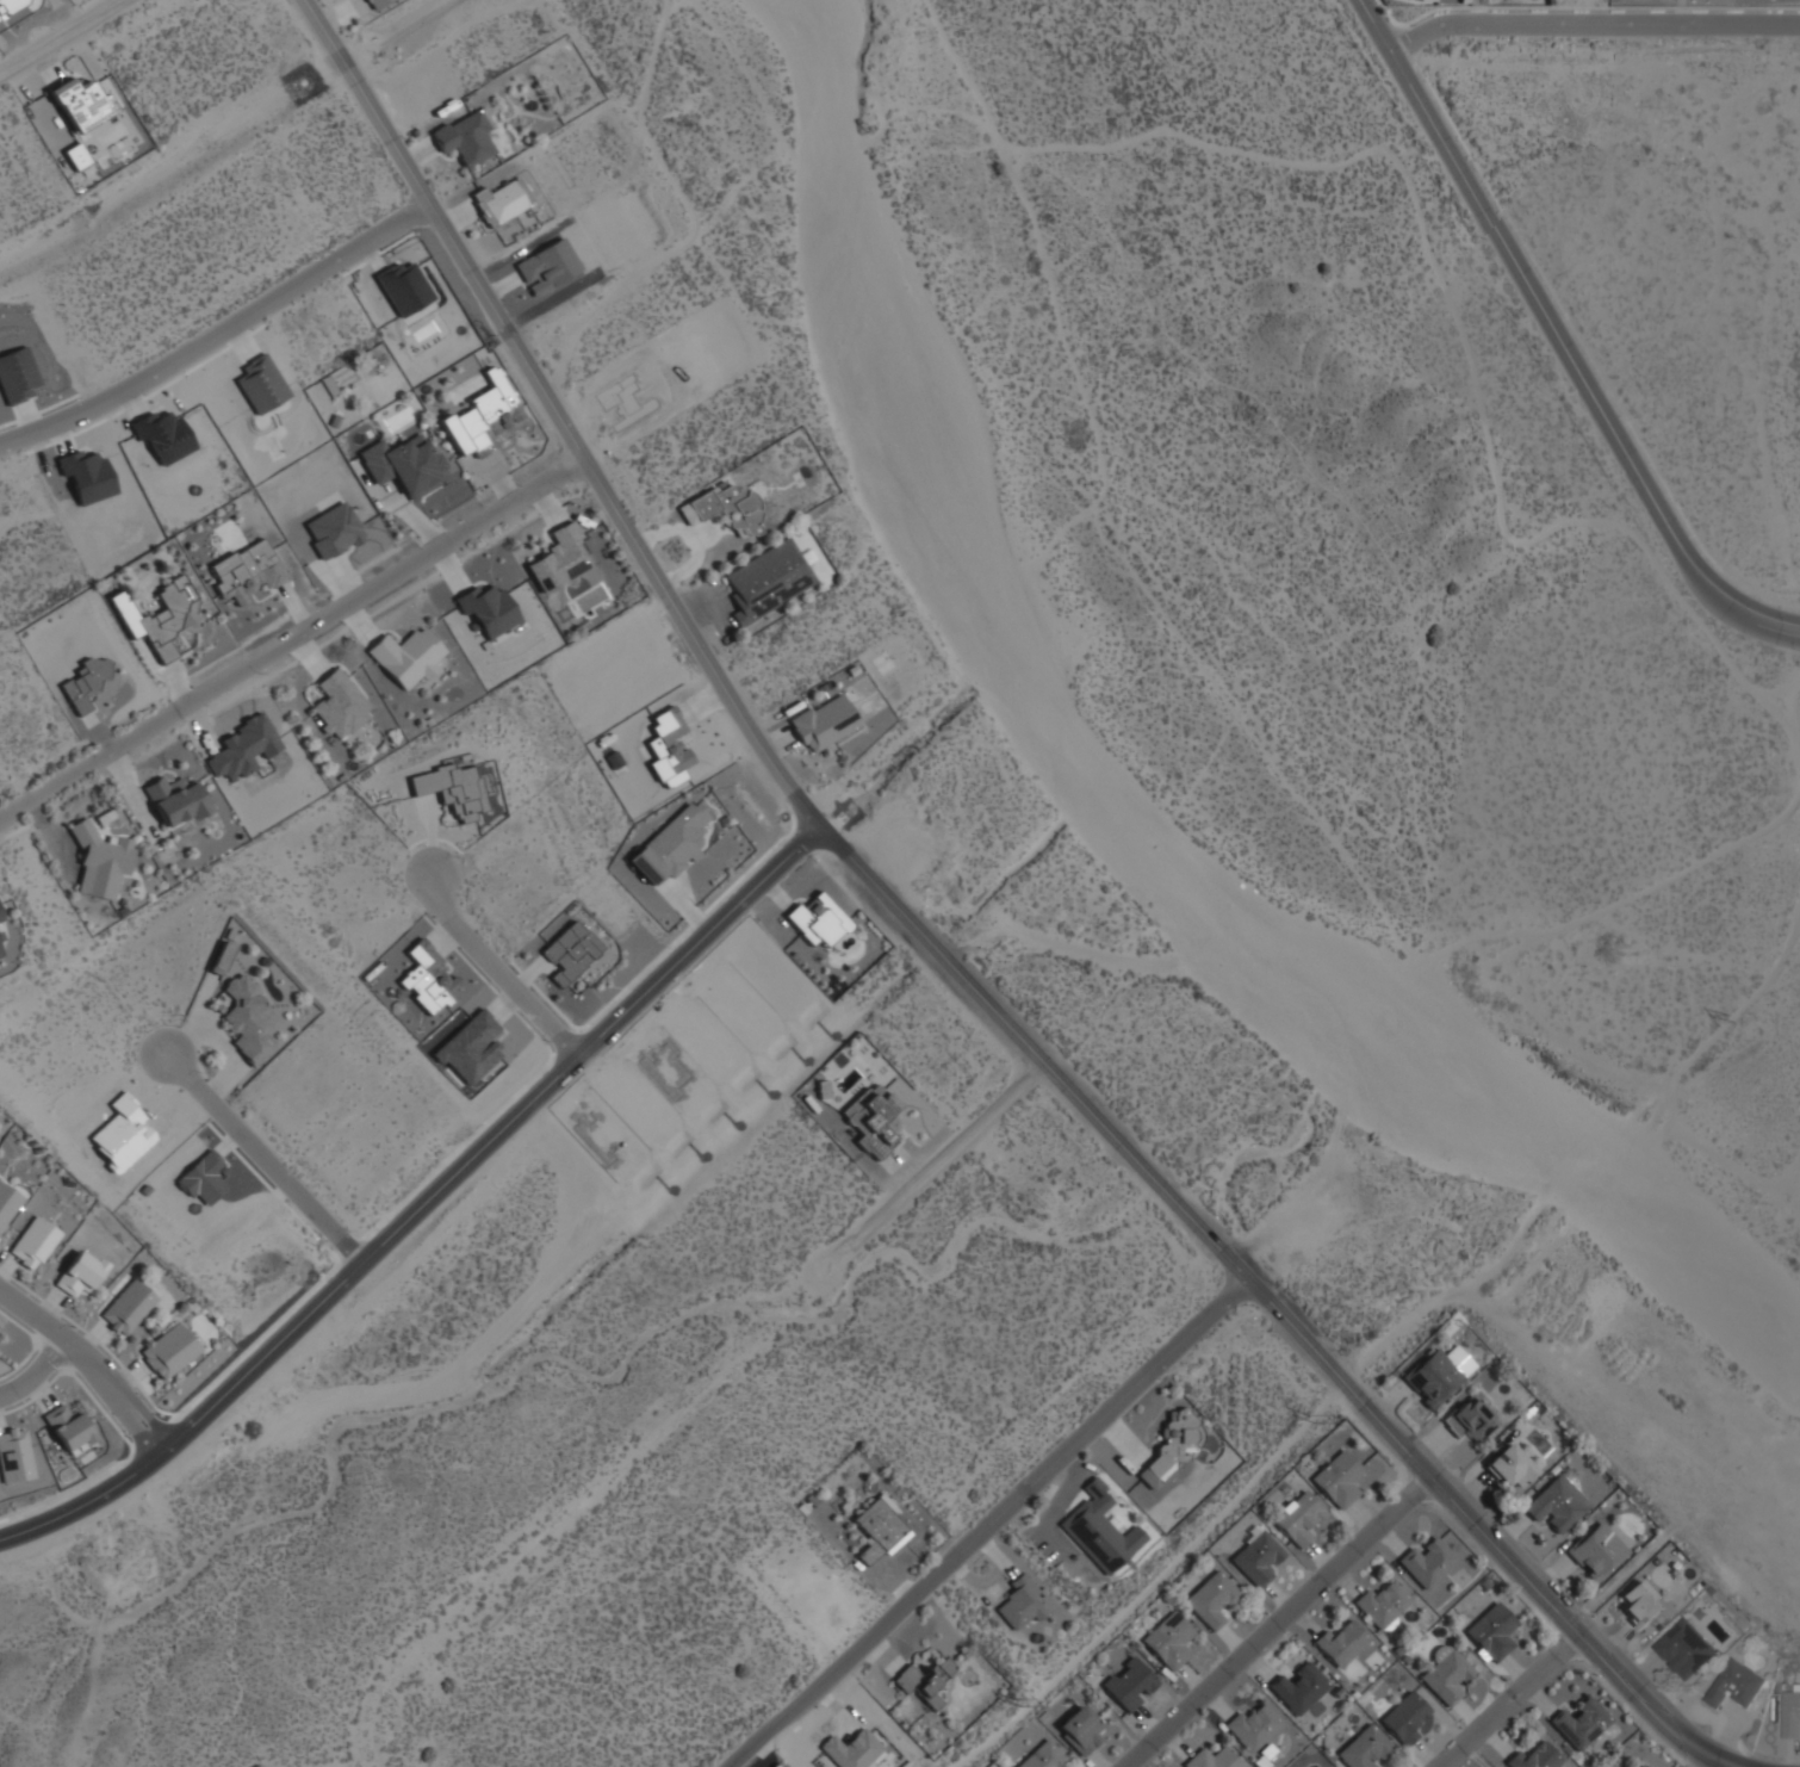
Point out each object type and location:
building: (373, 4)
building: (10, 6)
road: (1591, 25)
road: (61, 38)
building: (80, 103)
building: (465, 137)
building: (76, 155)
building: (499, 201)
building: (546, 266)
building: (406, 291)
road: (218, 334)
road: (1558, 340)
building: (17, 376)
building: (261, 383)
building: (634, 395)
road: (557, 414)
building: (482, 416)
building: (165, 435)
building: (404, 464)
building: (86, 475)
building: (726, 508)
building: (333, 531)
building: (558, 559)
building: (240, 569)
building: (766, 581)
building: (489, 609)
building: (160, 622)
road: (292, 639)
building: (406, 656)
building: (82, 682)
building: (337, 703)
building: (823, 723)
building: (668, 745)
building: (243, 746)
building: (452, 789)
building: (175, 800)
river: (1107, 819)
building: (671, 844)
building: (99, 860)
building: (1, 916)
building: (817, 920)
building: (570, 951)
building: (1, 954)
building: (155, 957)
building: (221, 957)
road: (498, 963)
building: (774, 975)
building: (422, 978)
building: (737, 1004)
building: (247, 1018)
power tower: (1740, 1030)
building: (705, 1040)
building: (72, 1046)
building: (468, 1047)
road: (1034, 1052)
building: (666, 1069)
building: (870, 1121)
building: (120, 1131)
building: (602, 1134)
road: (263, 1159)
building: (203, 1177)
road: (424, 1201)
building: (7, 1202)
building: (33, 1242)
building: (79, 1272)
building: (126, 1307)
building: (168, 1351)
road: (88, 1363)
road: (37, 1374)
building: (1436, 1374)
road: (689, 1405)
building: (1470, 1419)
building: (67, 1427)
power tower: (1322, 1430)
building: (1171, 1446)
building: (13, 1455)
building: (1510, 1465)
building: (1339, 1478)
building: (1557, 1503)
building: (1298, 1515)
road: (991, 1524)
building: (877, 1529)
road: (1484, 1529)
building: (1100, 1530)
building: (1596, 1551)
building: (1256, 1557)
building: (1426, 1562)
building: (67, 1574)
building: (1212, 1599)
building: (1382, 1604)
building: (1640, 1604)
building: (1022, 1605)
building: (79, 1617)
road: (1278, 1620)
building: (1490, 1632)
building: (1169, 1639)
building: (1341, 1643)
building: (1684, 1649)
road: (19, 1666)
building: (83, 1666)
building: (1445, 1674)
building: (924, 1681)
building: (1130, 1684)
building: (1736, 1685)
building: (1298, 1687)
road: (1514, 1700)
building: (87, 1709)
power tower: (1025, 1712)
building: (1790, 1713)
building: (1404, 1718)
building: (1579, 1723)
building: (1255, 1725)
building: (1081, 1729)
building: (1363, 1748)
building: (850, 1749)
building: (100, 1753)
building: (1043, 1755)
building: (1215, 1757)
building: (1534, 1757)
building: (1638, 1765)

